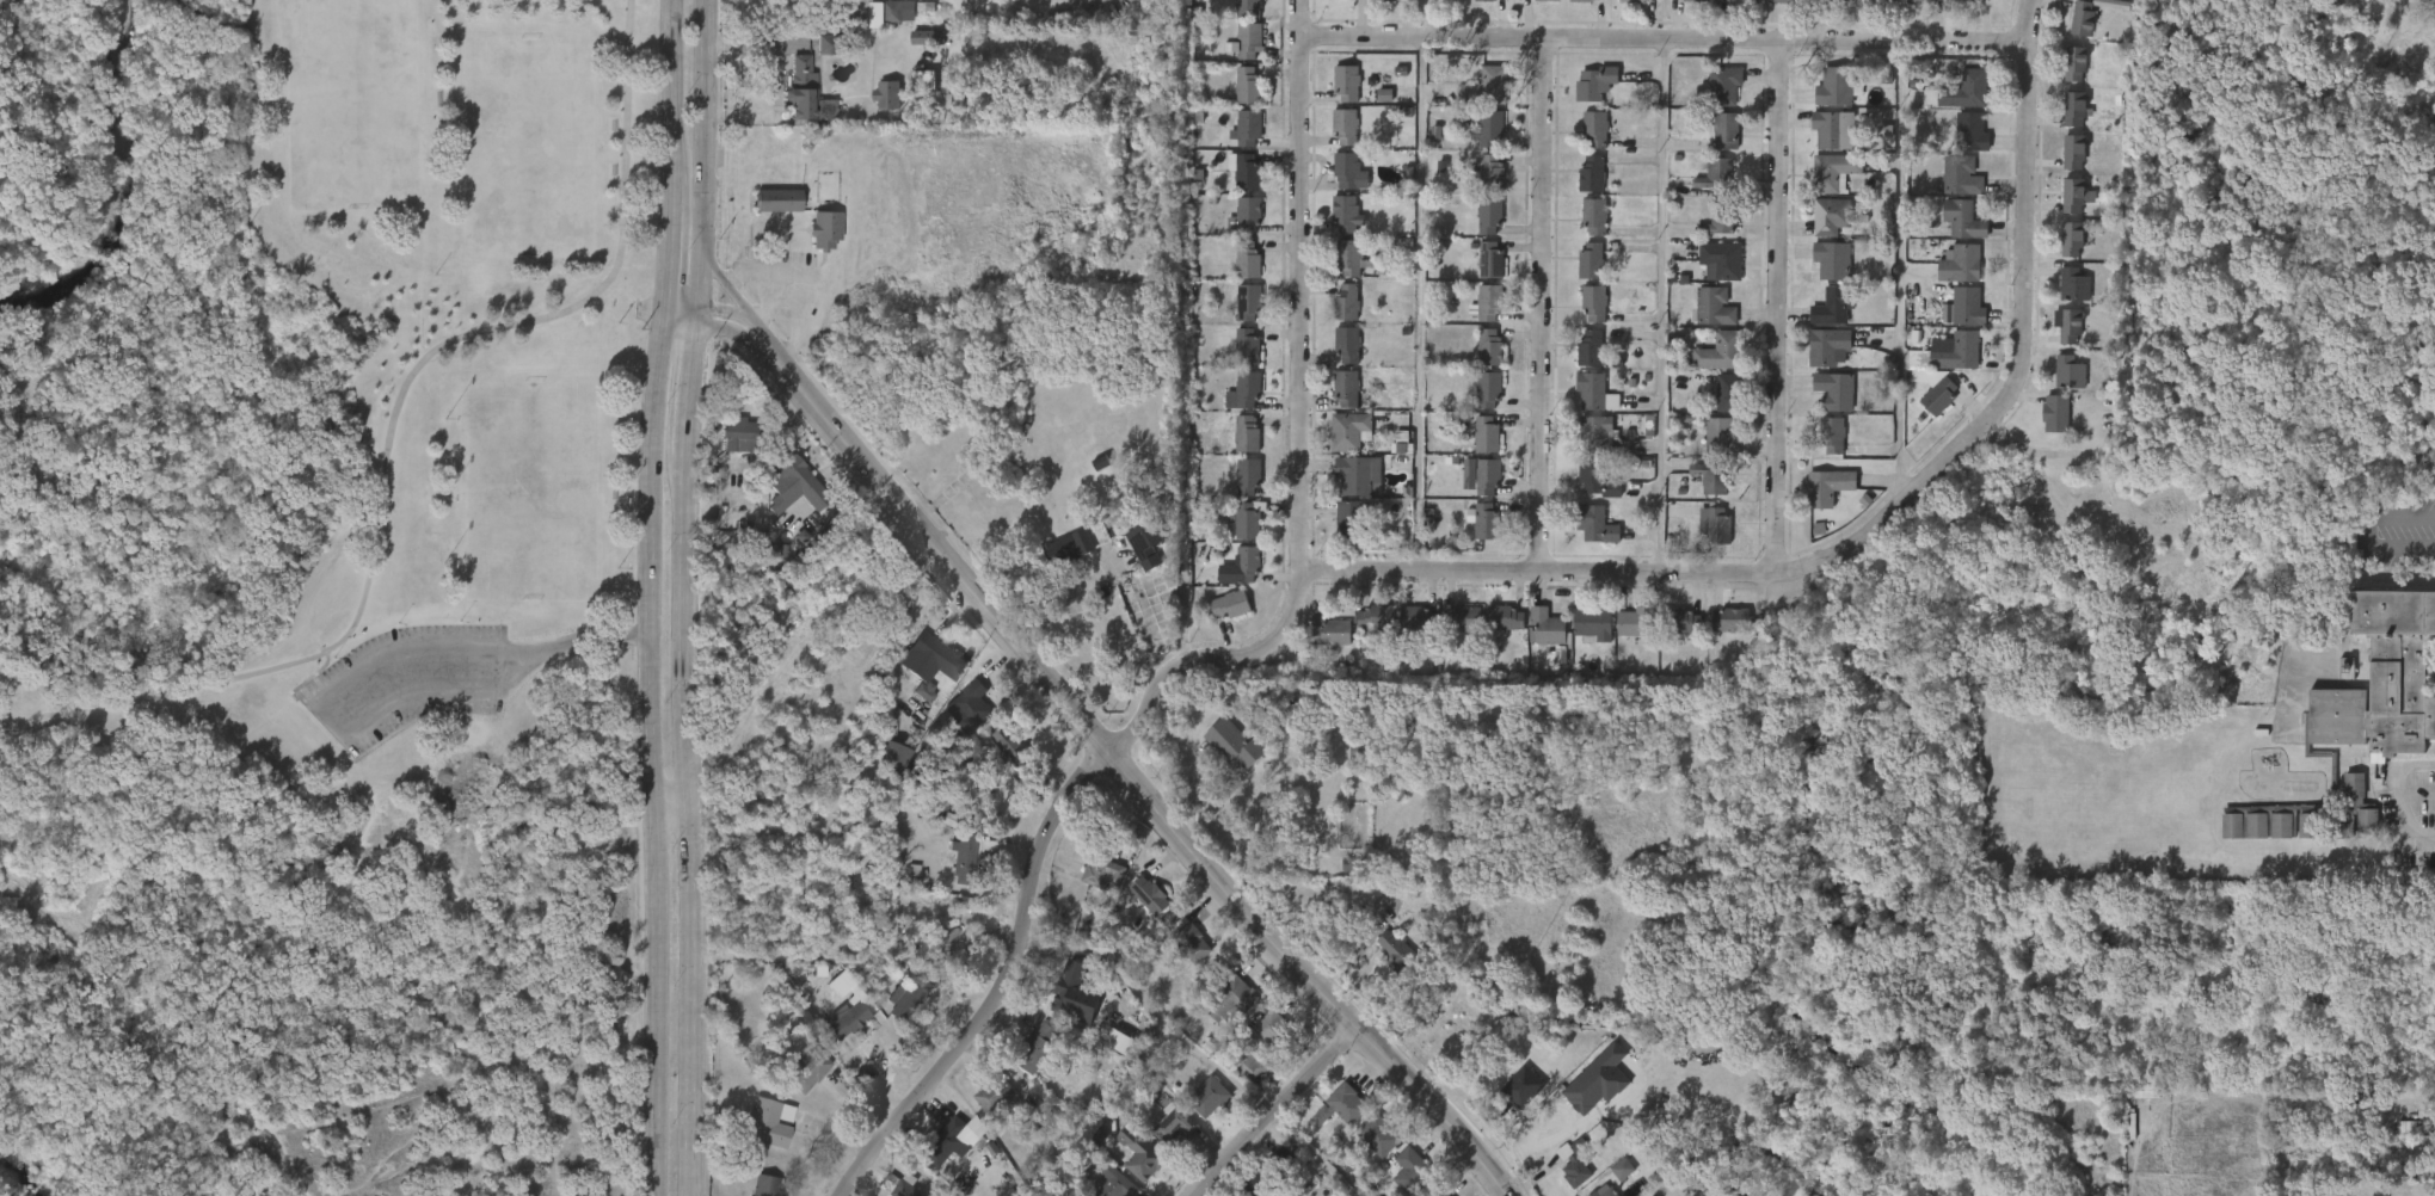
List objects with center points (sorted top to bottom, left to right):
building: (1386, 0)
building: (1580, 0)
building: (1787, 0)
building: (1836, 0)
building: (1640, 1)
building: (1740, 1)
building: (1882, 1)
building: (1920, 1)
building: (2093, 1)
building: (1334, 5)
building: (1431, 5)
building: (1248, 6)
building: (1480, 6)
building: (1527, 6)
building: (1677, 6)
building: (1960, 6)
building: (897, 12)
building: (1236, 14)
building: (2085, 18)
building: (872, 27)
building: (2070, 32)
building: (829, 39)
building: (1246, 39)
road: (1665, 41)
building: (916, 51)
building: (1236, 55)
building: (2077, 62)
building: (2062, 78)
building: (1345, 81)
building: (1597, 82)
building: (1246, 85)
building: (1727, 86)
building: (1840, 86)
building: (1487, 87)
building: (800, 88)
building: (1961, 90)
building: (887, 95)
building: (1584, 97)
building: (1335, 98)
building: (1713, 99)
building: (1235, 100)
building: (1475, 100)
building: (1824, 101)
park: (357, 105)
building: (877, 105)
building: (794, 107)
building: (2077, 107)
building: (1372, 109)
building: (1949, 109)
building: (1343, 125)
building: (2061, 125)
building: (1246, 127)
building: (1492, 127)
building: (1597, 129)
building: (1832, 129)
road: (709, 130)
building: (1727, 130)
building: (1970, 131)
building: (1334, 138)
building: (1477, 142)
building: (1236, 143)
building: (1584, 143)
building: (1821, 143)
building: (1714, 146)
building: (1960, 147)
park: (533, 148)
building: (2076, 150)
road: (669, 160)
building: (2061, 166)
building: (1345, 169)
building: (1246, 172)
building: (1492, 173)
building: (1837, 173)
building: (1593, 174)
building: (1718, 174)
building: (1961, 174)
building: (1232, 185)
building: (1338, 185)
building: (1480, 185)
building: (1709, 186)
building: (1580, 187)
building: (2076, 195)
building: (1951, 198)
building: (776, 199)
building: (2061, 210)
building: (1346, 214)
building: (767, 215)
building: (1244, 215)
building: (1492, 215)
building: (1595, 216)
building: (1834, 216)
building: (1963, 218)
building: (1722, 220)
building: (823, 228)
building: (1334, 228)
building: (1235, 230)
building: (1478, 230)
building: (1584, 230)
building: (1819, 230)
building: (1951, 234)
building: (1707, 236)
building: (2073, 239)
building: (814, 243)
building: (2059, 254)
building: (1352, 258)
building: (1726, 259)
building: (1246, 260)
building: (1493, 260)
building: (1834, 260)
building: (1592, 261)
road: (761, 264)
building: (1961, 264)
building: (1338, 272)
building: (1580, 272)
road: (1898, 272)
building: (1478, 273)
building: (1236, 275)
building: (1709, 275)
building: (1820, 275)
building: (1948, 278)
building: (2073, 284)
road: (726, 289)
building: (2061, 298)
building: (1247, 301)
building: (1490, 302)
building: (1348, 303)
building: (1597, 303)
road: (1420, 304)
road: (1538, 306)
building: (1837, 306)
road: (1661, 307)
building: (1717, 307)
building: (1964, 307)
road: (702, 308)
road: (1777, 308)
building: (1335, 315)
building: (1236, 318)
building: (1474, 318)
building: (1582, 318)
building: (1703, 321)
building: (1820, 321)
building: (1953, 321)
building: (2072, 325)
road: (707, 326)
road: (755, 326)
building: (2058, 341)
building: (1349, 344)
building: (1246, 346)
building: (1832, 347)
building: (1492, 349)
building: (1592, 349)
building: (1718, 351)
building: (1961, 351)
building: (1918, 353)
building: (1336, 358)
building: (1235, 360)
building: (1477, 362)
building: (1579, 362)
building: (1818, 362)
building: (1950, 365)
building: (1705, 366)
building: (2072, 372)
building: (2058, 386)
building: (1247, 388)
building: (1348, 388)
building: (1490, 389)
building: (1593, 392)
building: (1838, 392)
building: (1727, 393)
building: (1938, 394)
building: (1334, 401)
building: (1232, 405)
building: (1822, 405)
building: (1584, 406)
building: (1715, 407)
building: (1926, 408)
building: (2060, 414)
building: (2043, 427)
building: (1352, 431)
road: (1295, 432)
road: (387, 433)
building: (740, 433)
building: (1247, 433)
building: (1598, 433)
building: (1488, 434)
building: (1836, 434)
building: (1720, 437)
building: (1585, 444)
building: (1339, 445)
building: (1235, 448)
building: (1474, 448)
building: (727, 449)
building: (1709, 450)
building: (1820, 450)
road: (2035, 452)
building: (794, 469)
building: (1247, 475)
building: (1357, 476)
building: (1489, 477)
building: (1709, 477)
building: (1597, 480)
building: (1832, 487)
building: (1470, 489)
building: (1236, 491)
building: (1699, 492)
park: (530, 493)
building: (1587, 495)
building: (782, 497)
building: (1816, 501)
building: (1247, 519)
building: (1352, 520)
building: (1483, 520)
building: (1594, 524)
building: (1717, 526)
road: (1873, 530)
building: (1234, 534)
building: (1339, 534)
building: (1470, 534)
road: (2367, 535)
building: (1585, 538)
building: (1705, 540)
building: (1144, 543)
building: (1065, 548)
road: (928, 549)
building: (1133, 561)
building: (1057, 562)
building: (1246, 563)
building: (1230, 580)
park: (320, 594)
park: (328, 598)
building: (1232, 604)
building: (1375, 616)
building: (1504, 617)
building: (1218, 618)
building: (1463, 618)
building: (1730, 619)
building: (1679, 621)
building: (1418, 622)
building: (1635, 622)
building: (1592, 624)
building: (1545, 628)
building: (1369, 630)
building: (1403, 631)
building: (1455, 631)
building: (1332, 633)
building: (1494, 633)
building: (1718, 635)
building: (1621, 637)
building: (1580, 639)
building: (1535, 641)
building: (1321, 648)
building: (935, 659)
road: (490, 668)
building: (921, 672)
parking lot: (407, 682)
building: (2374, 693)
building: (967, 707)
road: (687, 728)
building: (1232, 744)
building: (1010, 745)
road: (642, 757)
building: (1222, 757)
building: (1000, 759)
road: (668, 807)
road: (2387, 808)
building: (2304, 824)
building: (2354, 833)
building: (2219, 839)
building: (2243, 839)
building: (2268, 839)
building: (2294, 839)
building: (964, 851)
road: (2412, 868)
building: (1100, 873)
building: (952, 874)
building: (1090, 887)
building: (1150, 894)
building: (1138, 908)
building: (1191, 939)
building: (1394, 950)
building: (1182, 957)
building: (1382, 962)
road: (1290, 981)
road: (997, 988)
building: (1068, 997)
building: (905, 998)
building: (1229, 1000)
road: (1151, 1011)
building: (847, 1021)
building: (1272, 1031)
building: (1258, 1042)
building: (1038, 1049)
building: (1108, 1055)
building: (1246, 1067)
building: (805, 1068)
building: (1241, 1078)
building: (996, 1096)
building: (1585, 1096)
building: (1206, 1097)
building: (1511, 1101)
building: (1346, 1103)
building: (984, 1110)
building: (1197, 1110)
road: (1271, 1118)
road: (1541, 1118)
building: (1329, 1121)
building: (761, 1123)
building: (1176, 1128)
building: (1377, 1134)
building: (2396, 1141)
building: (948, 1142)
building: (1367, 1149)
building: (1142, 1158)
building: (1576, 1161)
building: (1408, 1169)
building: (1132, 1170)
building: (1271, 1171)
building: (1396, 1178)
building: (1561, 1178)
building: (1113, 1182)
building: (1610, 1183)
building: (763, 1185)
building: (904, 1185)
building: (1434, 1189)
building: (1603, 1191)

